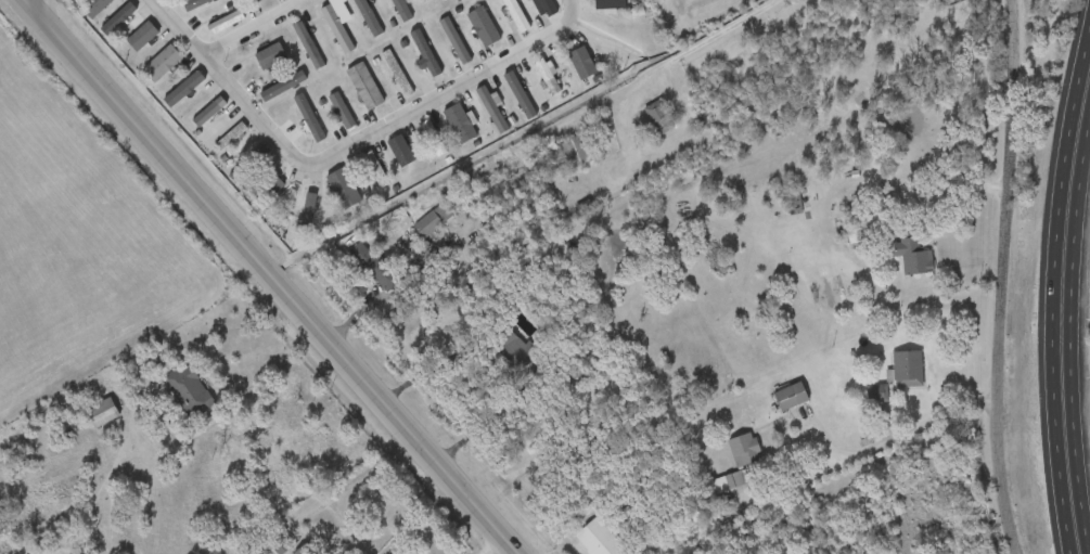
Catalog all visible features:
building: (254, 1)
road: (29, 2)
road: (565, 4)
building: (608, 4)
building: (197, 5)
building: (92, 8)
building: (546, 8)
building: (401, 10)
building: (366, 15)
building: (514, 15)
building: (119, 17)
building: (225, 23)
building: (483, 27)
road: (255, 28)
building: (335, 29)
building: (141, 38)
building: (453, 41)
building: (307, 47)
road: (693, 50)
building: (268, 56)
building: (425, 56)
building: (161, 64)
building: (581, 64)
building: (396, 75)
building: (547, 77)
building: (281, 87)
building: (363, 87)
building: (187, 88)
road: (231, 89)
road: (452, 93)
building: (518, 95)
building: (339, 108)
building: (491, 111)
building: (208, 113)
building: (657, 118)
building: (308, 121)
building: (459, 125)
building: (230, 138)
building: (432, 138)
building: (399, 152)
building: (572, 154)
building: (248, 165)
building: (374, 170)
road: (1086, 180)
building: (343, 186)
building: (267, 188)
road: (961, 191)
building: (797, 205)
building: (307, 212)
building: (432, 221)
building: (912, 257)
road: (267, 276)
building: (384, 278)
road: (1004, 278)
road: (1070, 337)
building: (513, 348)
building: (907, 370)
road: (485, 376)
building: (188, 391)
building: (879, 394)
building: (790, 397)
building: (101, 413)
road: (887, 439)
building: (743, 450)
road: (1083, 458)
building: (728, 482)
road: (500, 550)

